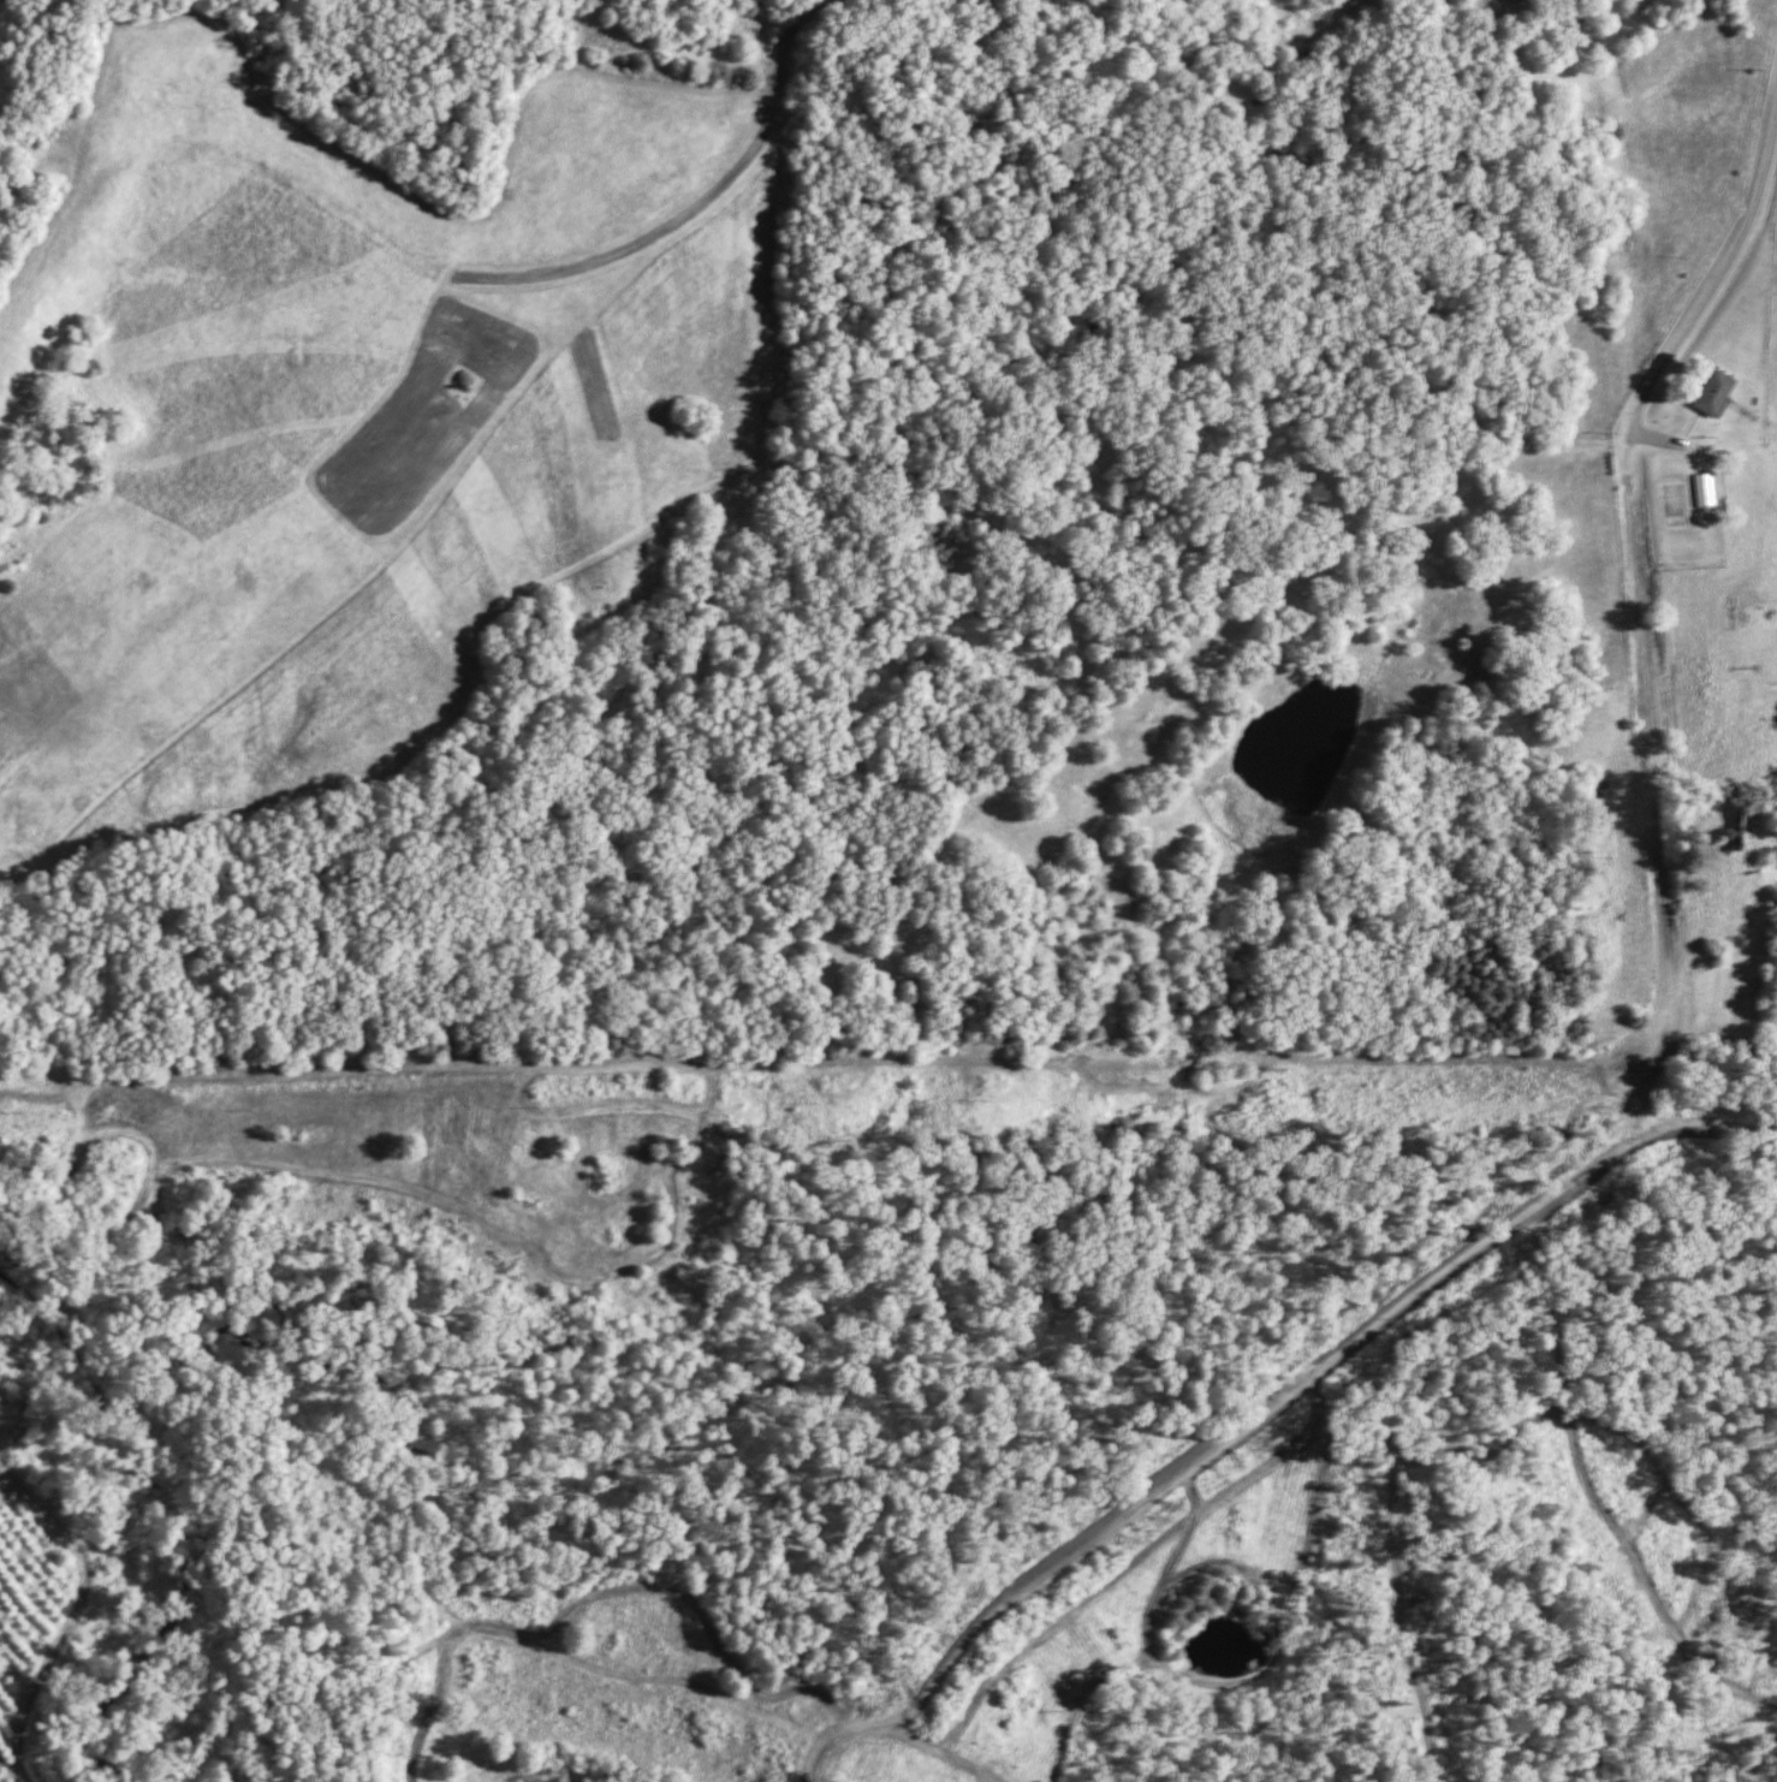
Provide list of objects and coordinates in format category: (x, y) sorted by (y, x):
building: (1707, 394)
building: (1696, 491)
road: (1645, 649)
building: (1731, 842)

